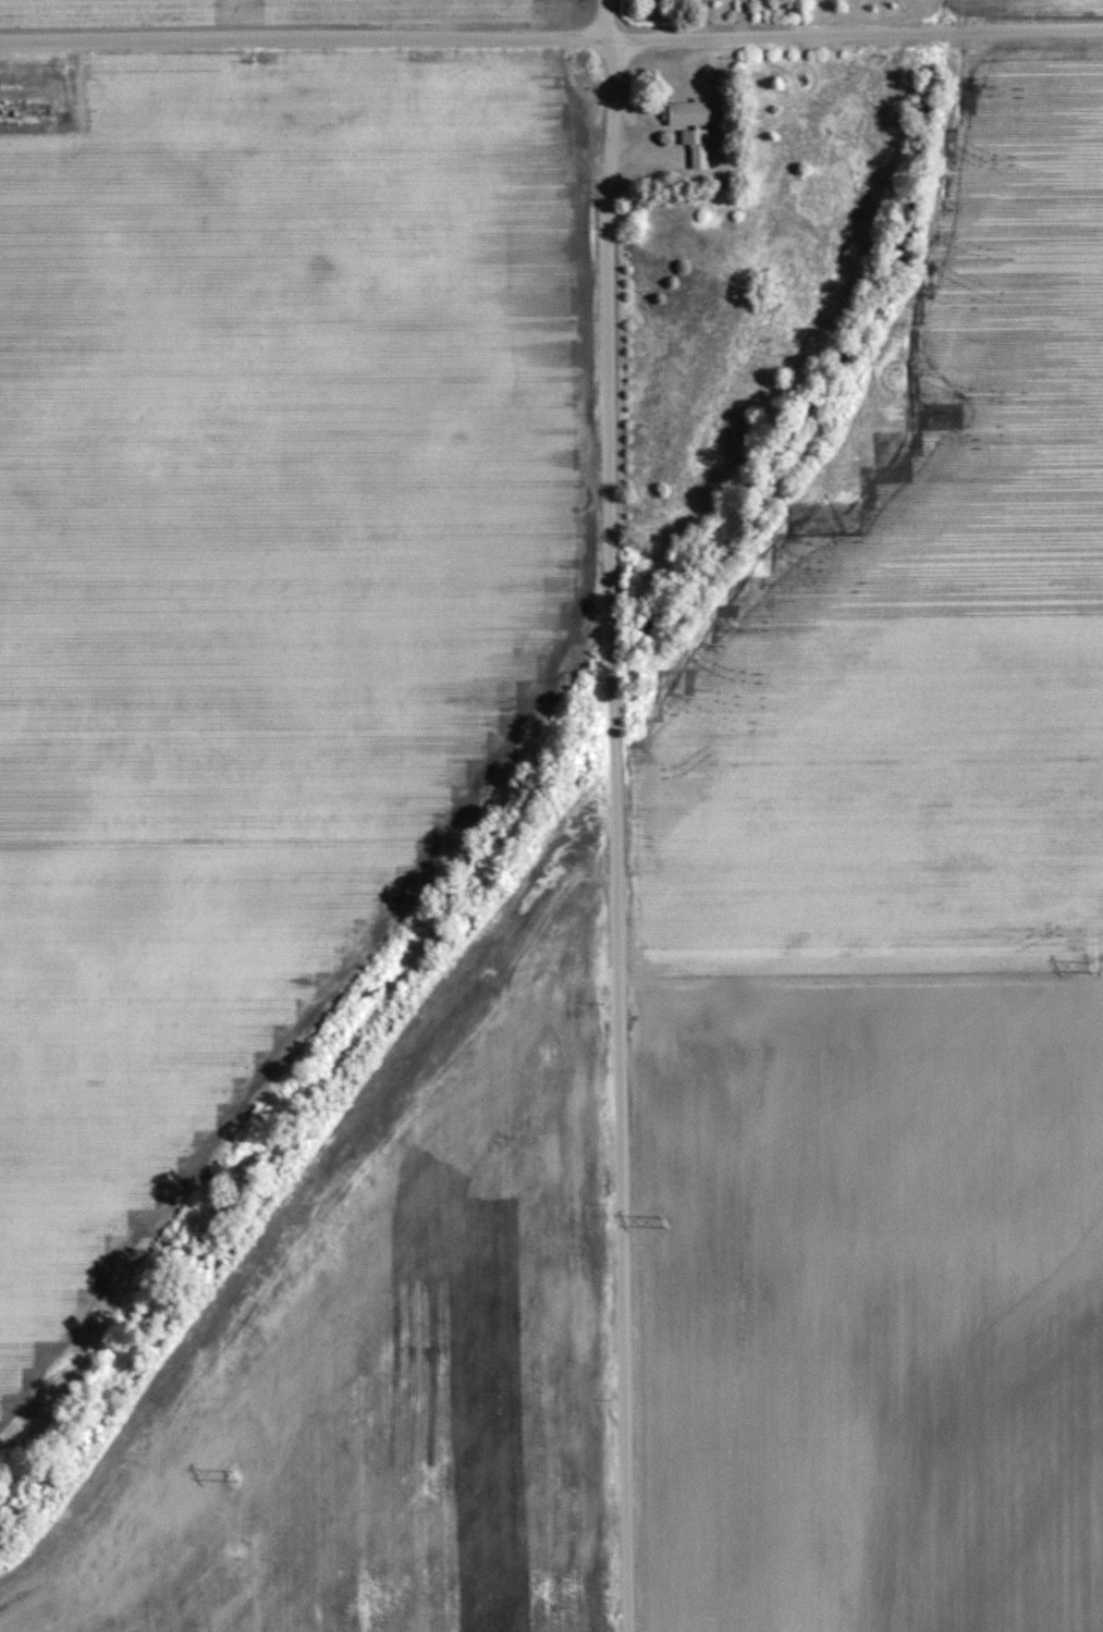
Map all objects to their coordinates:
road: (855, 33)
road: (304, 42)
building: (686, 112)
building: (694, 146)
road: (614, 815)
power tower: (1091, 962)
power tower: (665, 1222)
power tower: (234, 1475)

